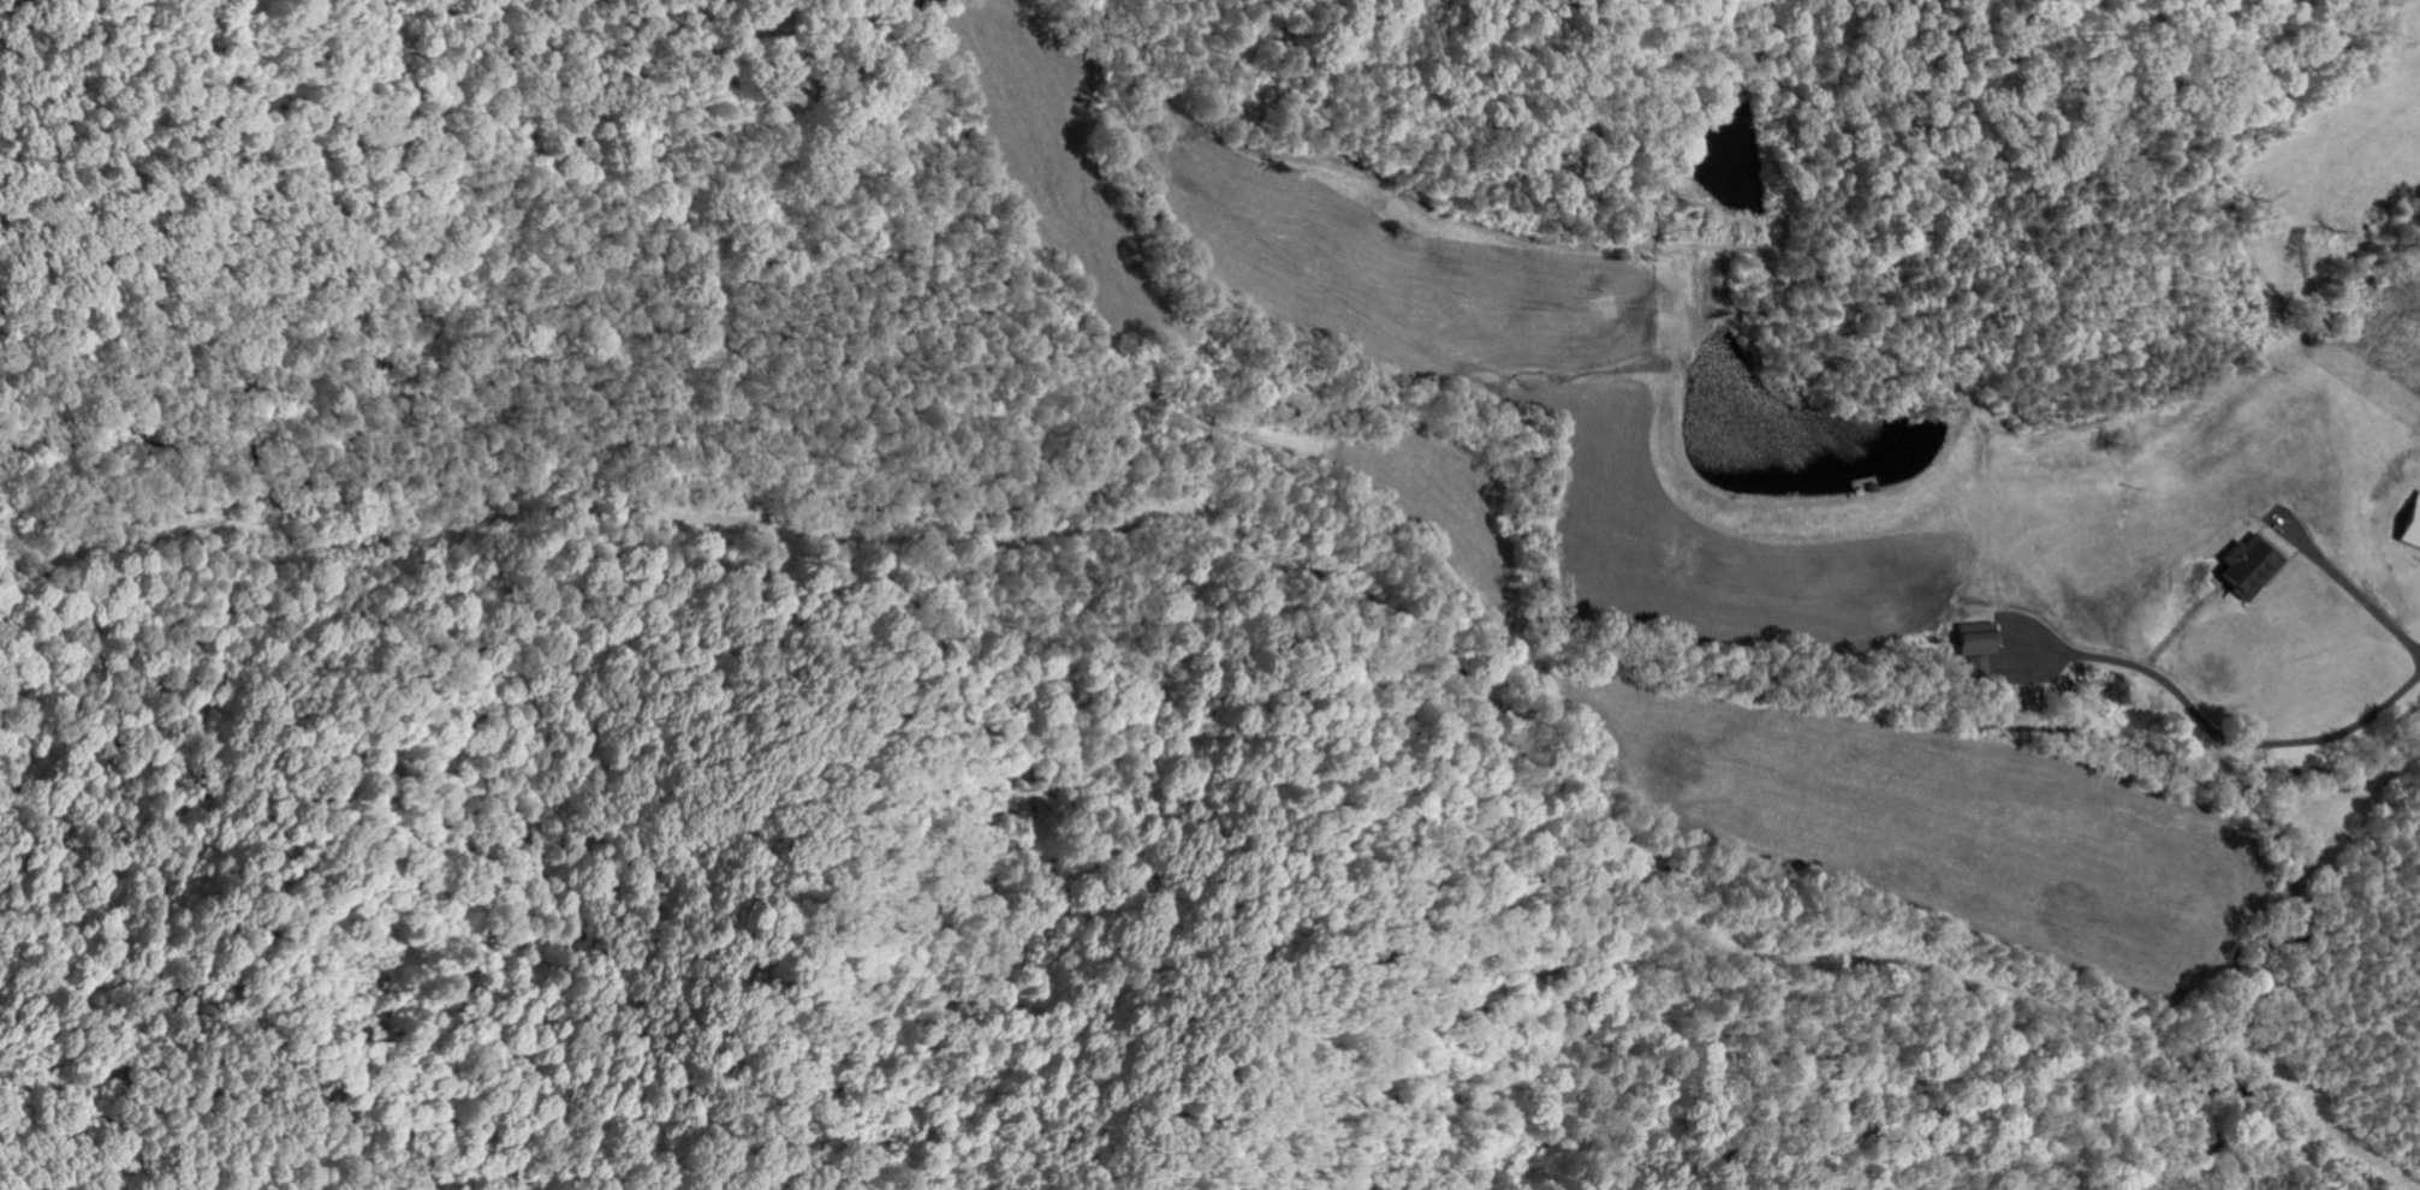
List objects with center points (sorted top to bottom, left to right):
building: (2410, 524)
building: (2243, 565)
road: (2360, 597)
building: (1972, 648)
road: (2244, 742)

